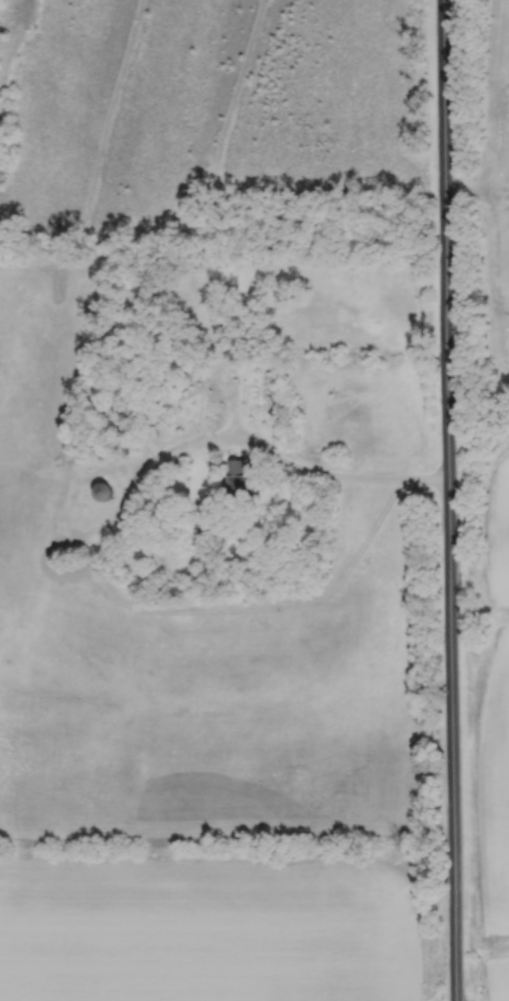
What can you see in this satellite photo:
building: (220, 284)
building: (255, 379)
building: (194, 409)
road: (326, 477)
building: (236, 480)
building: (104, 492)
road: (449, 500)

